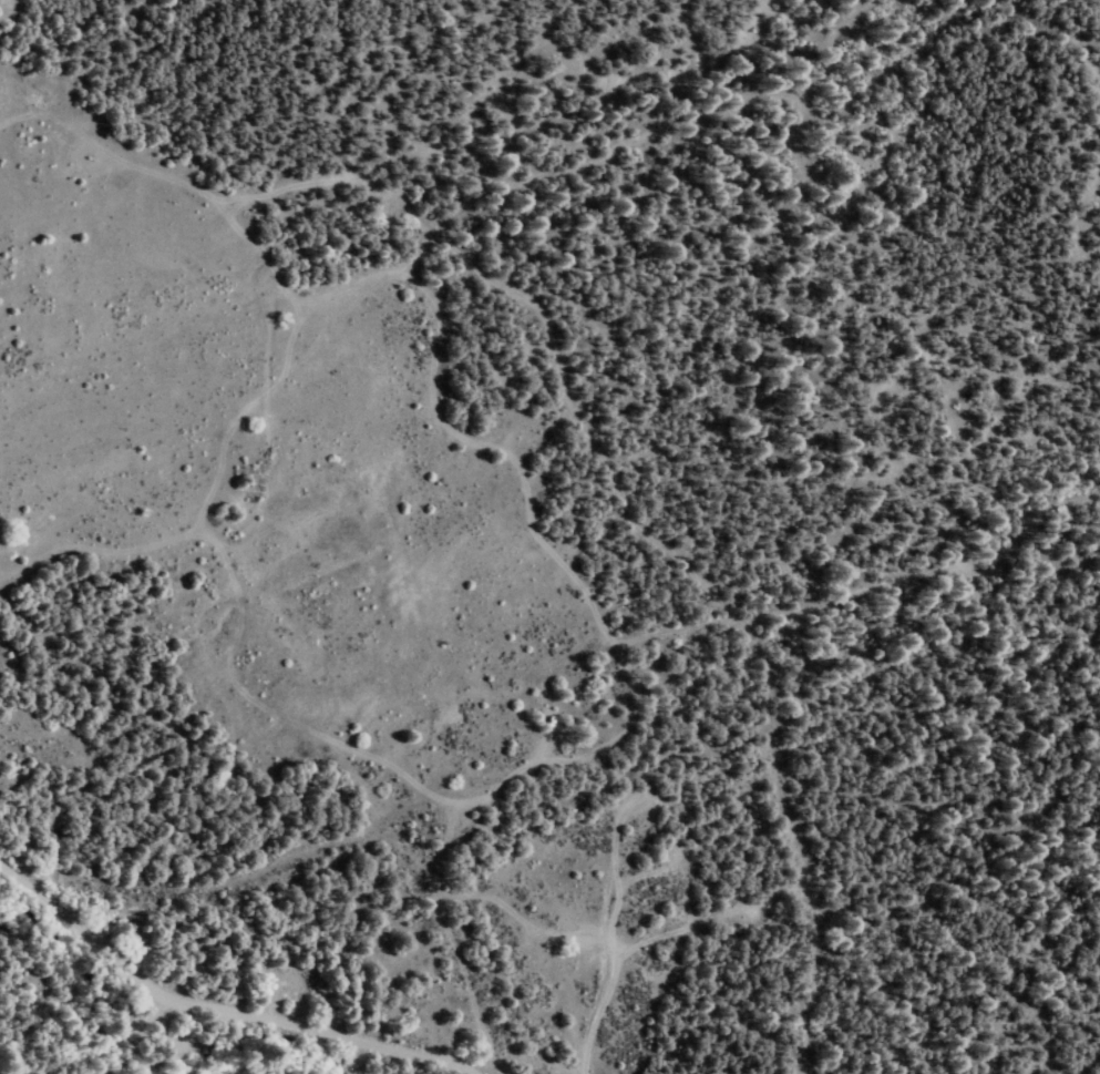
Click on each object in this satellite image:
road: (216, 1011)

